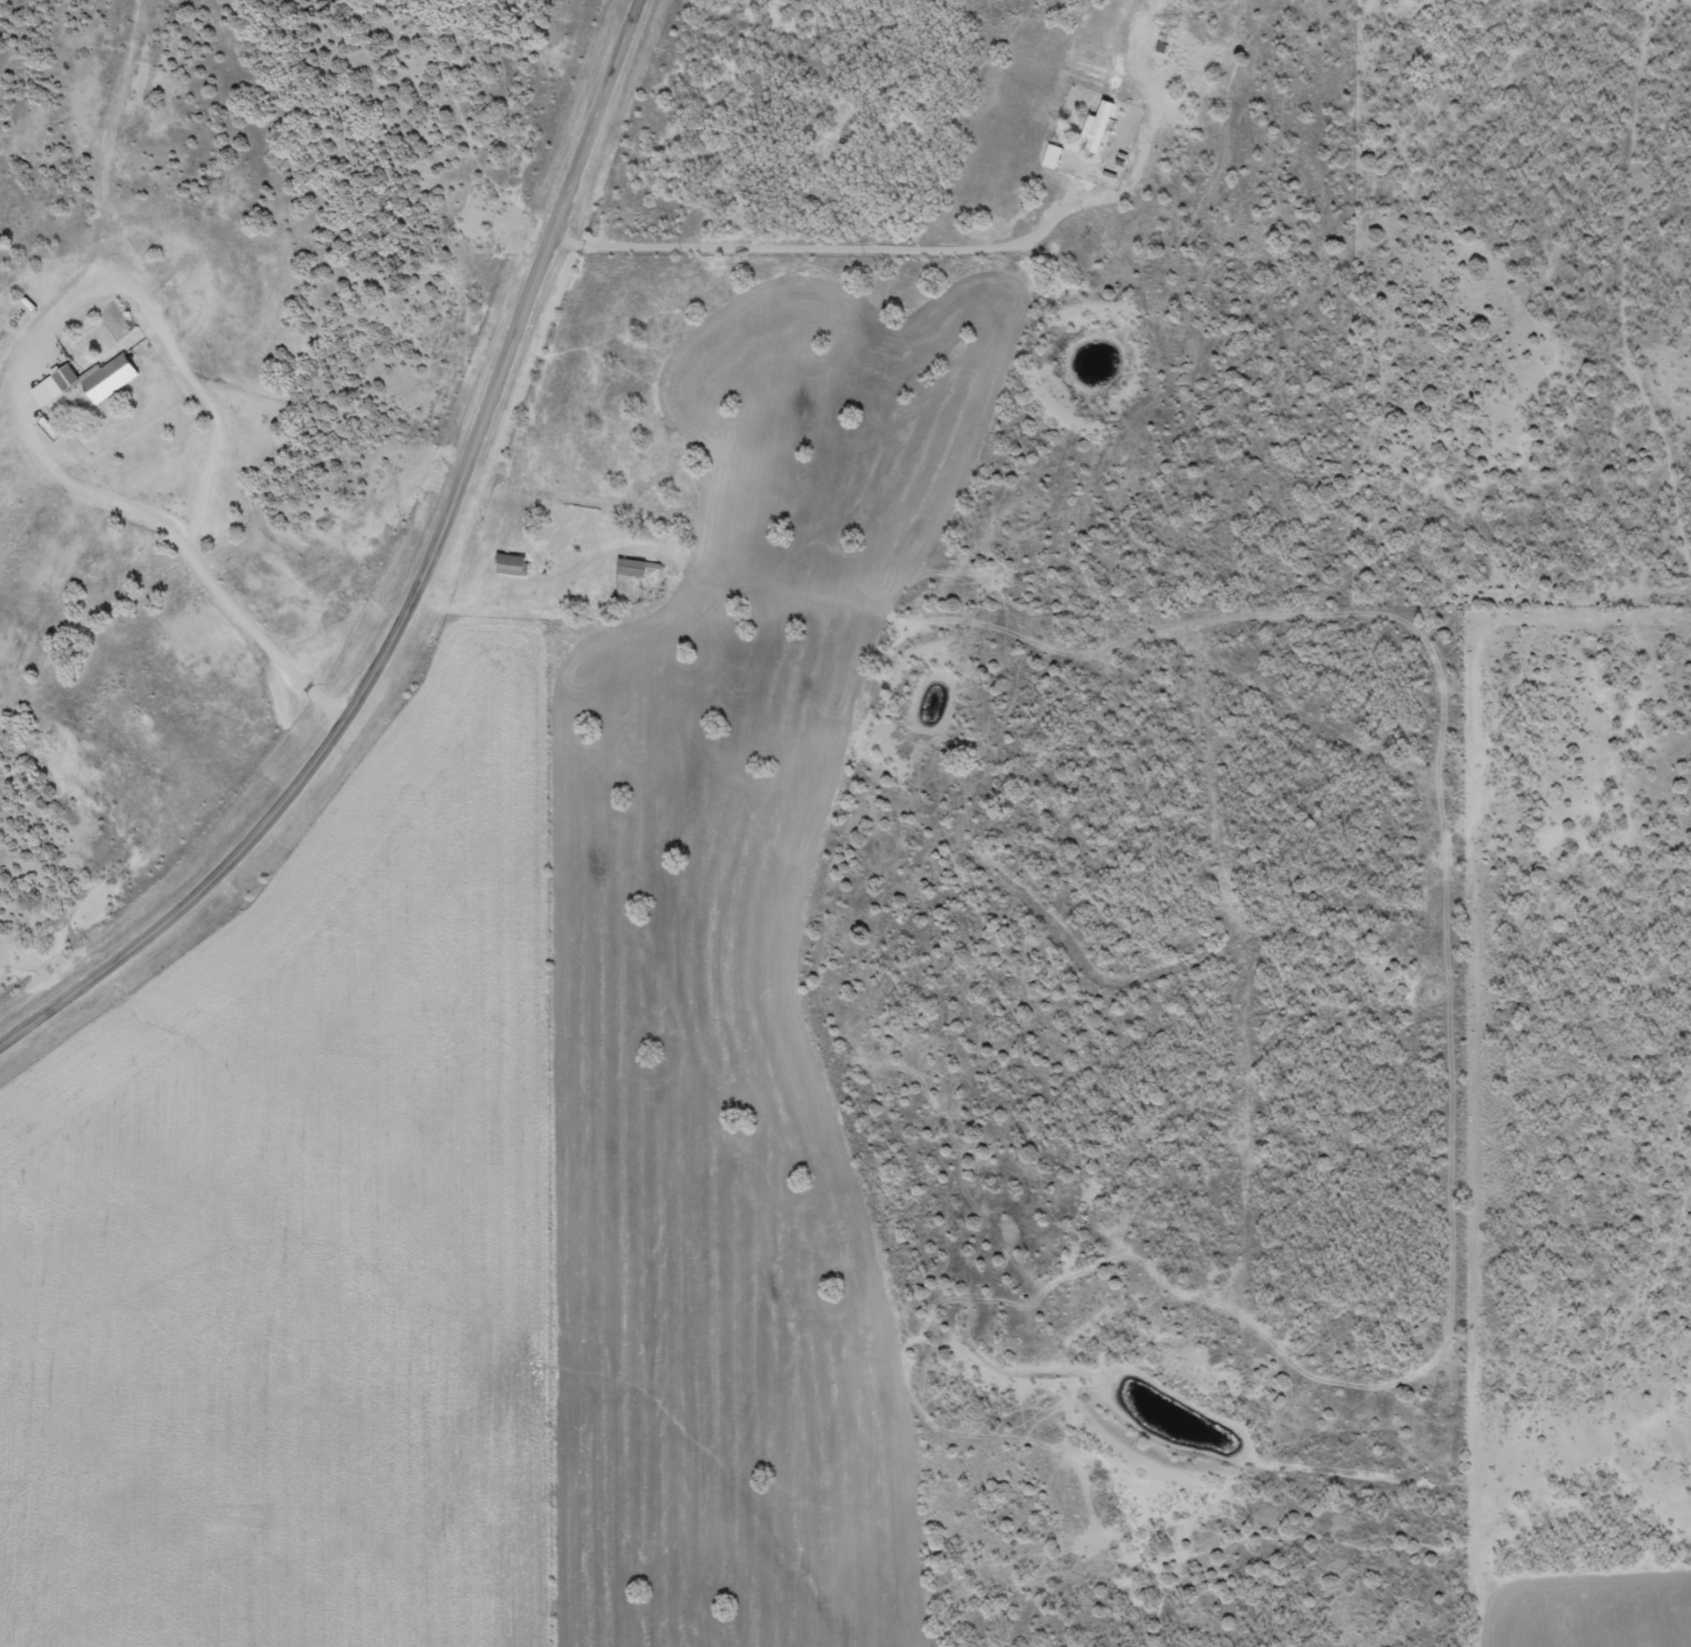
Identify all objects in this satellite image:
building: (1096, 129)
building: (1051, 159)
building: (99, 379)
building: (512, 567)
building: (630, 569)
road: (418, 589)

